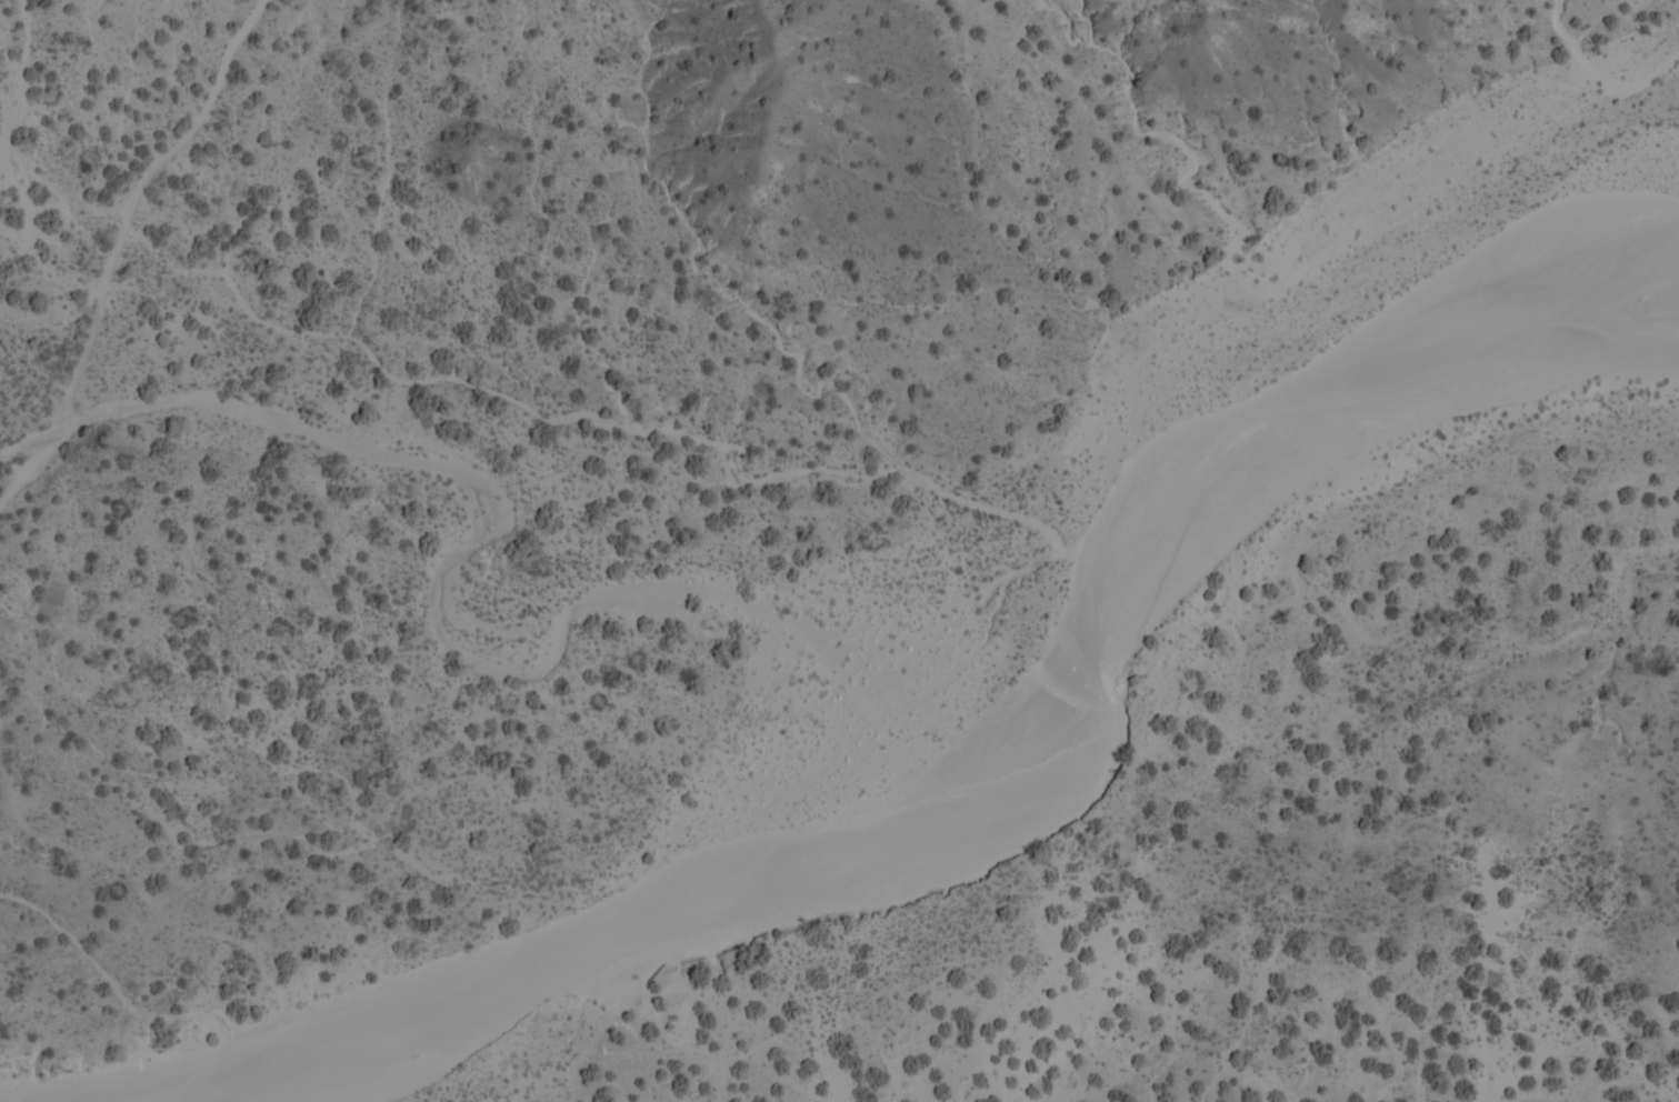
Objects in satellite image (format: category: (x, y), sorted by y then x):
road: (117, 248)

